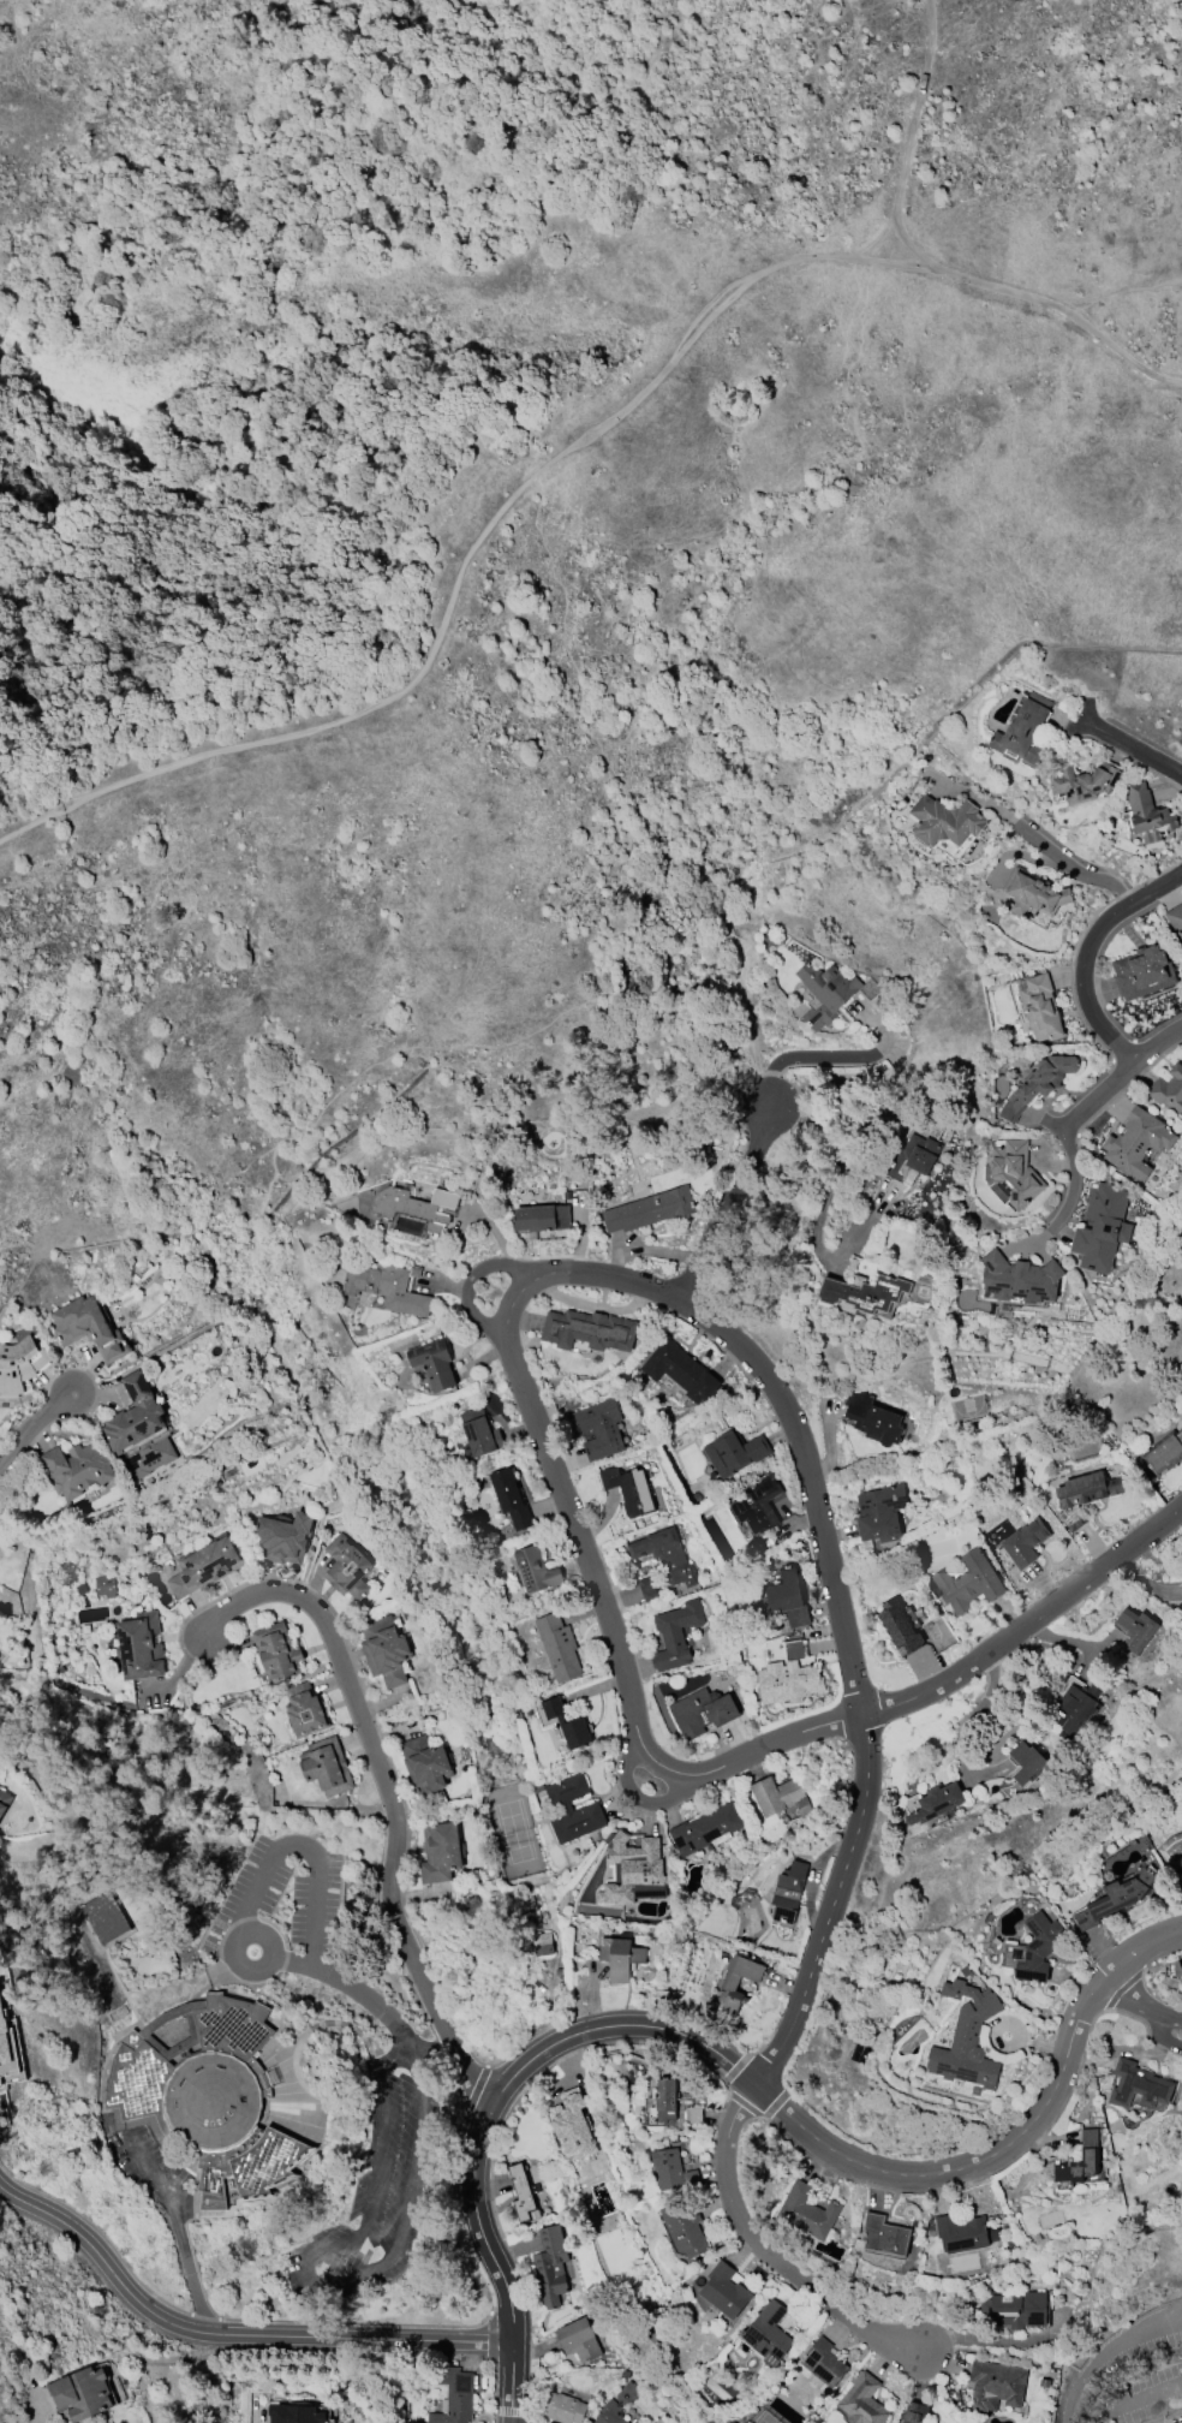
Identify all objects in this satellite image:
road: (911, 138)
road: (1124, 288)
road: (565, 450)
building: (1023, 730)
road: (1133, 748)
building: (1082, 781)
building: (1147, 814)
building: (947, 823)
road: (1081, 868)
building: (1032, 893)
building: (1175, 917)
road: (1086, 957)
building: (1141, 971)
building: (830, 990)
building: (1040, 1007)
road: (825, 1055)
building: (1037, 1083)
building: (1169, 1089)
road: (1086, 1113)
building: (1136, 1142)
building: (914, 1155)
building: (1014, 1172)
road: (828, 1191)
road: (724, 1204)
building: (417, 1205)
building: (649, 1209)
building: (542, 1216)
building: (1100, 1226)
building: (1019, 1278)
building: (384, 1286)
road: (467, 1287)
building: (865, 1291)
building: (88, 1327)
building: (587, 1329)
building: (434, 1363)
building: (19, 1364)
building: (680, 1370)
building: (872, 1418)
building: (599, 1428)
building: (139, 1429)
road: (35, 1431)
building: (478, 1433)
building: (734, 1452)
building: (1164, 1452)
building: (77, 1468)
building: (1088, 1487)
building: (629, 1489)
building: (509, 1498)
building: (758, 1504)
building: (879, 1512)
building: (283, 1536)
building: (1023, 1541)
building: (665, 1554)
building: (204, 1564)
building: (346, 1567)
building: (535, 1570)
building: (968, 1582)
building: (105, 1584)
building: (649, 1588)
building: (787, 1596)
road: (838, 1601)
building: (900, 1627)
building: (1136, 1627)
building: (675, 1633)
building: (139, 1645)
building: (559, 1645)
building: (384, 1649)
building: (277, 1650)
building: (794, 1650)
building: (788, 1681)
building: (1075, 1704)
building: (304, 1709)
building: (702, 1710)
road: (974, 1716)
building: (567, 1722)
building: (1026, 1761)
building: (425, 1764)
building: (326, 1766)
road: (699, 1774)
building: (1013, 1788)
building: (778, 1796)
road: (387, 1797)
building: (4, 1799)
building: (936, 1802)
building: (590, 1806)
building: (704, 1828)
road: (304, 1845)
building: (440, 1851)
building: (633, 1870)
building: (788, 1889)
building: (1114, 1898)
building: (105, 1917)
building: (543, 1943)
railway: (530, 1945)
building: (1033, 1948)
road: (1140, 1953)
building: (620, 1957)
building: (728, 1986)
road: (1142, 2005)
road: (1164, 2035)
building: (4, 2037)
building: (967, 2037)
road: (694, 2044)
building: (0, 2065)
building: (1138, 2084)
building: (207, 2095)
building: (665, 2098)
building: (693, 2114)
building: (572, 2124)
building: (1080, 2160)
building: (671, 2169)
building: (520, 2191)
building: (807, 2209)
building: (685, 2227)
road: (178, 2228)
building: (963, 2232)
building: (884, 2234)
road: (762, 2254)
road: (303, 2261)
building: (550, 2266)
building: (724, 2290)
building: (1016, 2308)
building: (768, 2333)
road: (231, 2335)
building: (578, 2338)
road: (1106, 2356)
building: (823, 2362)
building: (996, 2385)
building: (82, 2393)
building: (453, 2394)
road: (1146, 2399)
building: (862, 2400)
building: (617, 2404)
building: (563, 2407)
building: (914, 2412)
building: (294, 2413)
road: (1105, 2417)
building: (635, 2422)

